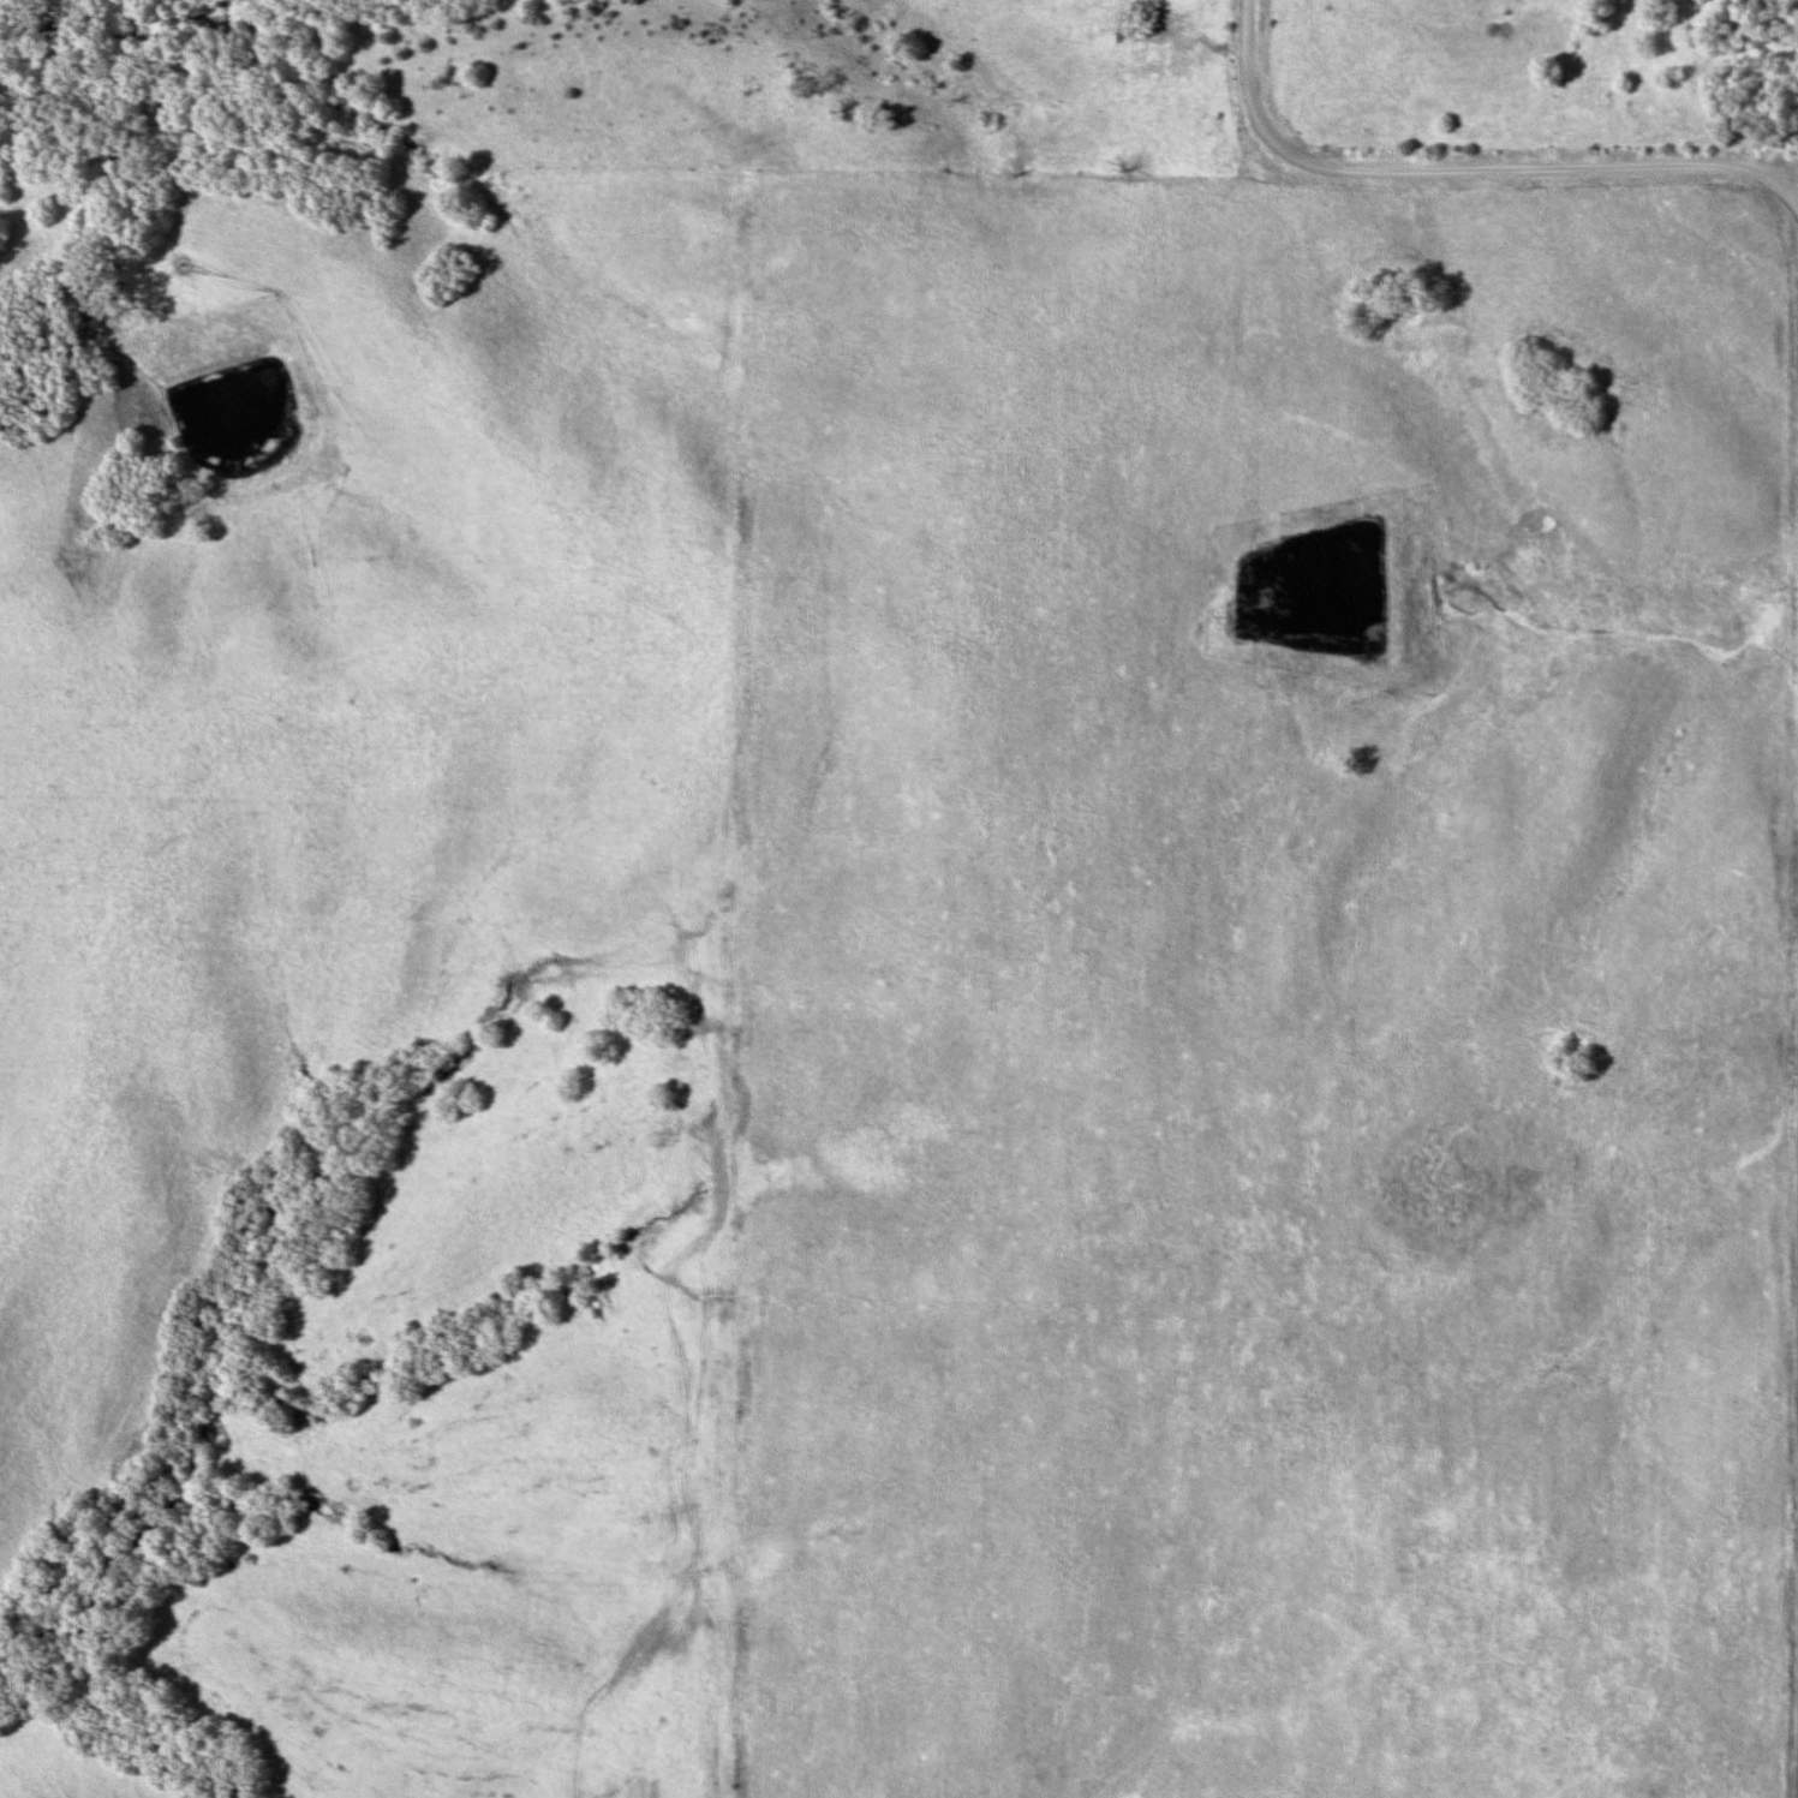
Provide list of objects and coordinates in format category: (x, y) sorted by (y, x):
road: (1463, 175)
road: (1793, 205)
road: (1793, 904)
road: (1793, 1507)

